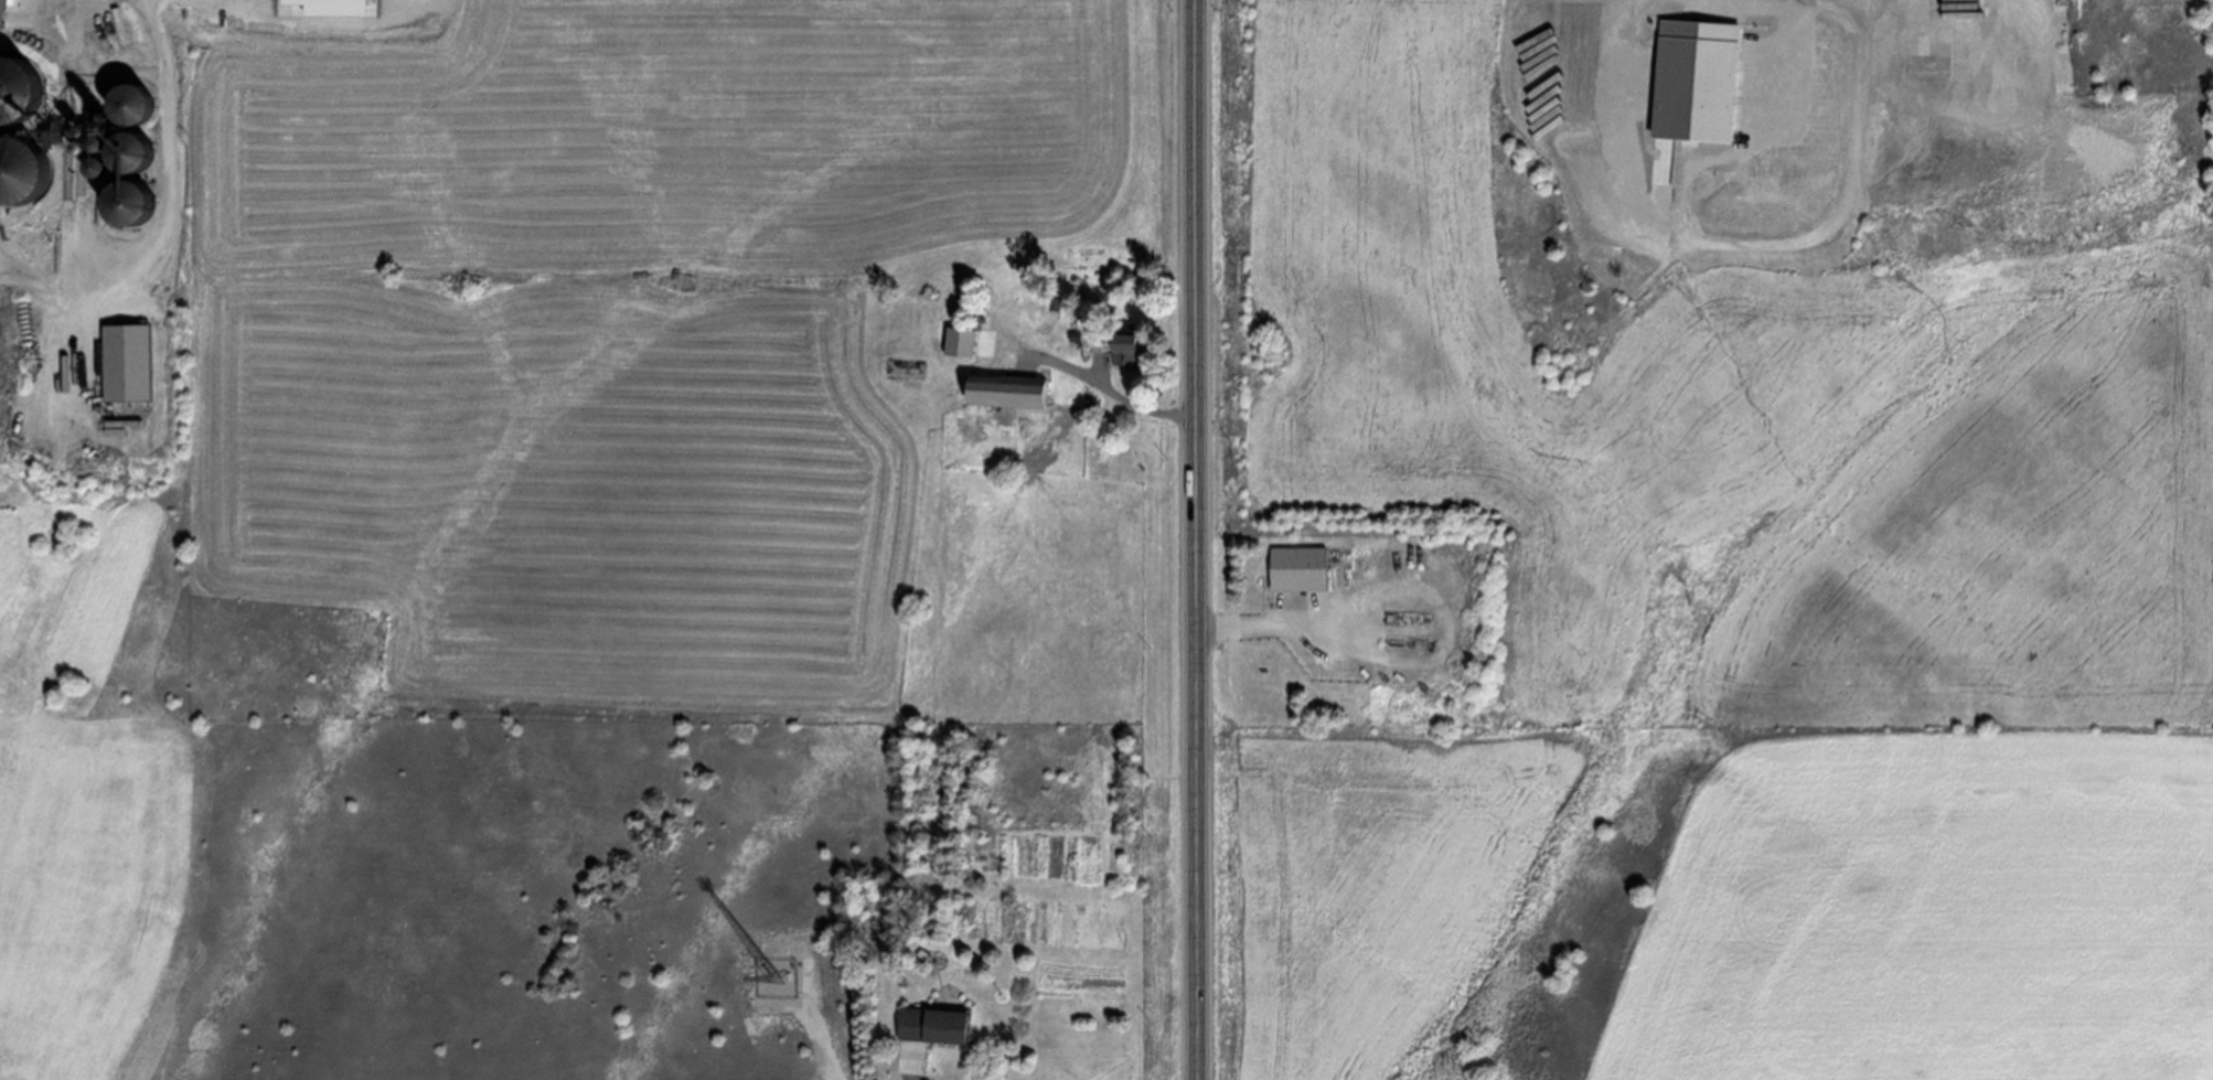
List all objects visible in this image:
building: (0, 9)
building: (1696, 82)
building: (13, 93)
building: (122, 106)
building: (14, 172)
road: (71, 179)
building: (116, 179)
road: (167, 204)
road: (1730, 236)
building: (1125, 343)
building: (127, 364)
road: (1094, 385)
building: (1006, 391)
road: (1197, 539)
building: (1300, 569)
road: (1283, 627)
building: (931, 1024)
road: (915, 1066)

